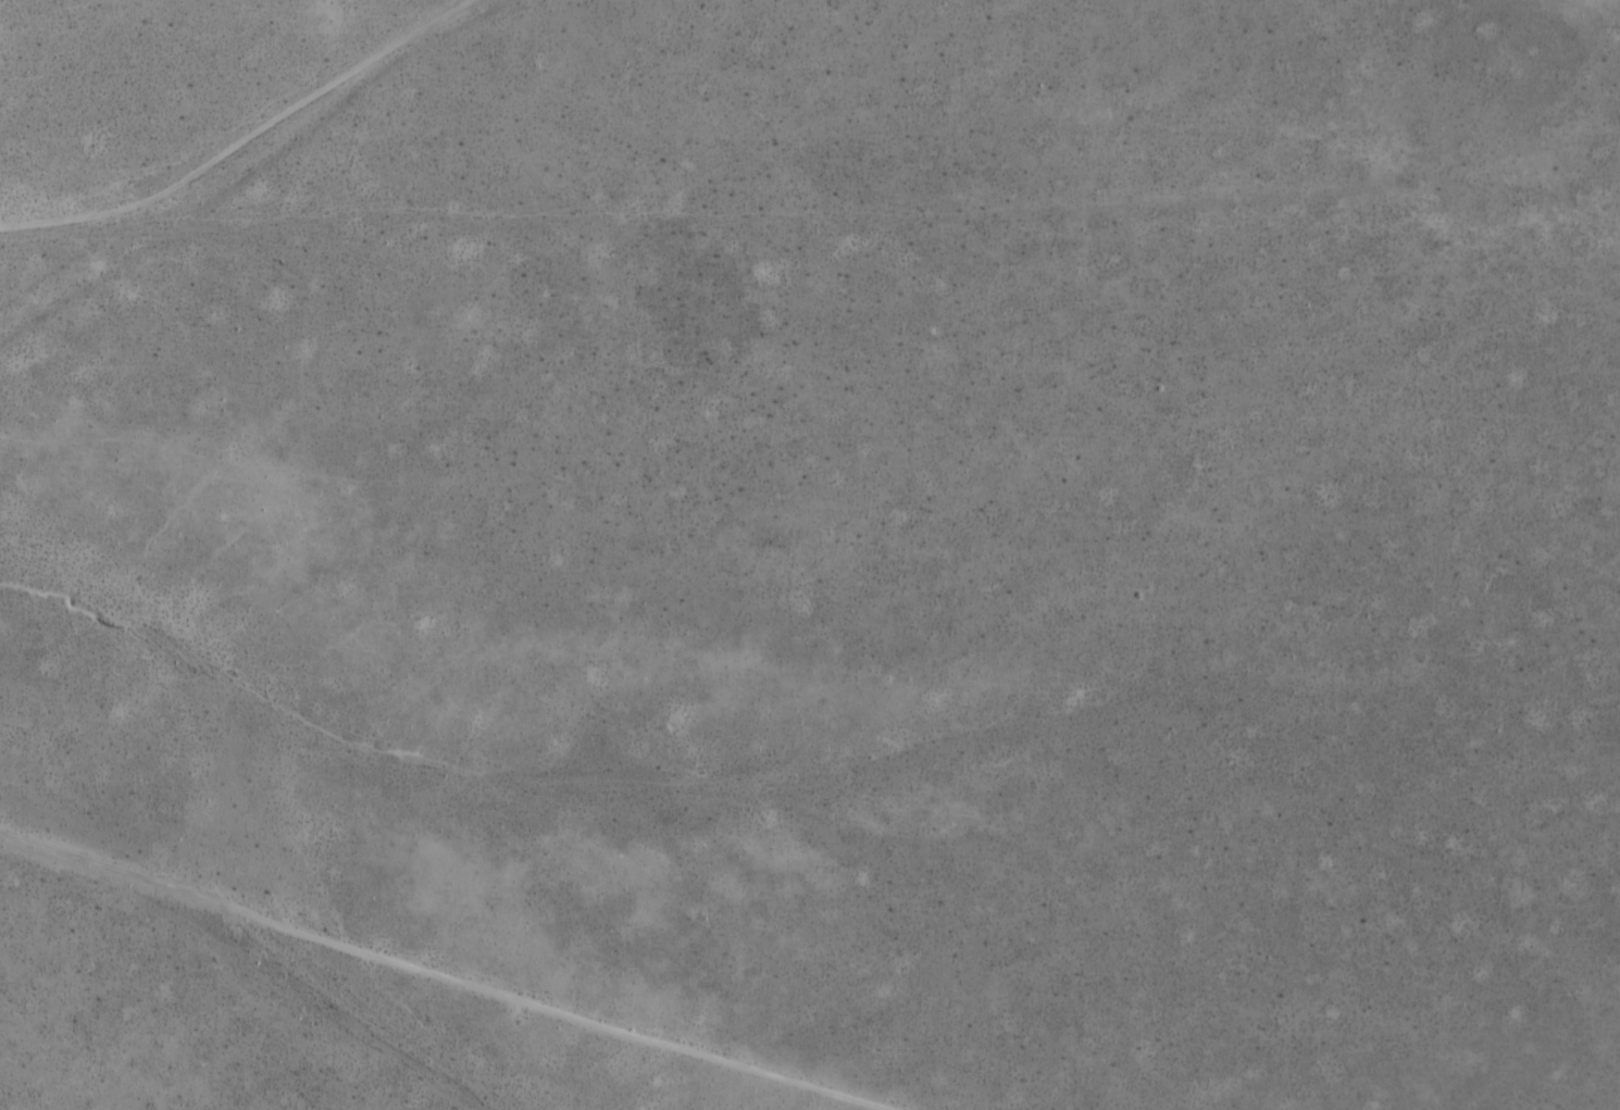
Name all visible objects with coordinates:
road: (251, 142)
road: (437, 977)

